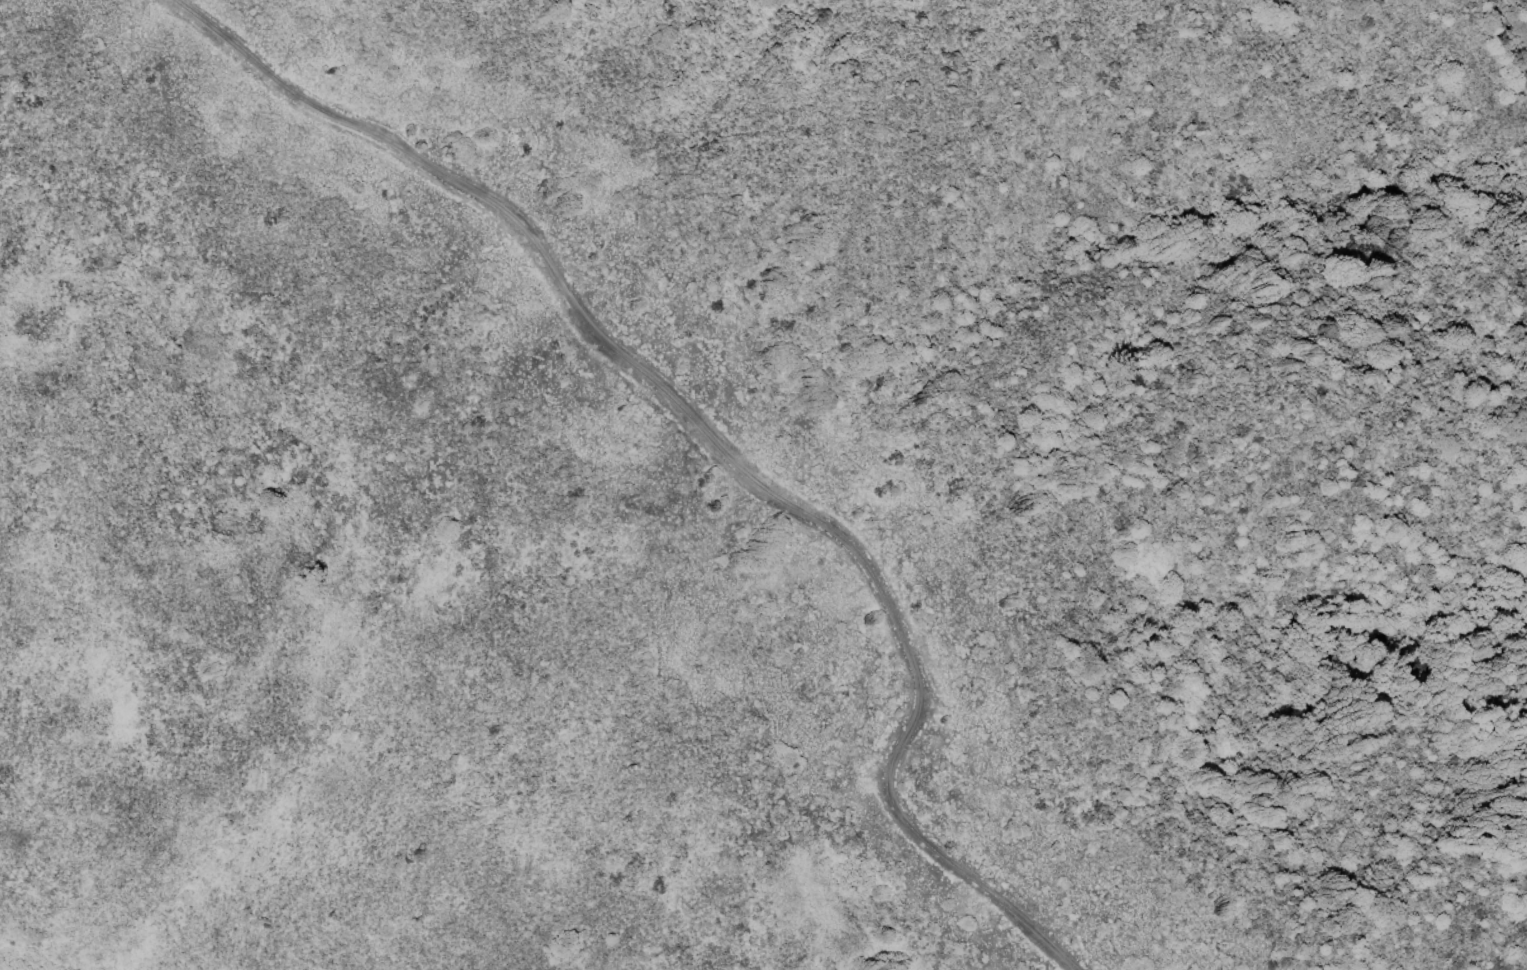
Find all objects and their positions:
road: (720, 445)

